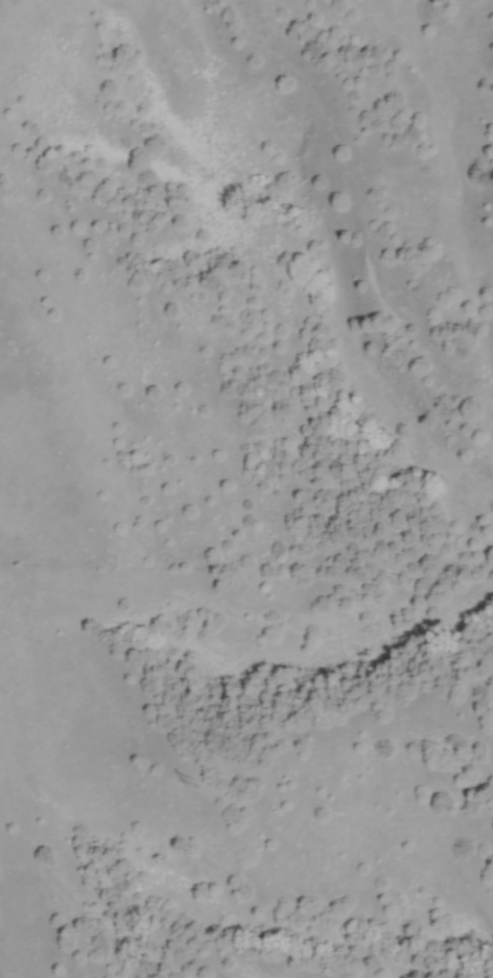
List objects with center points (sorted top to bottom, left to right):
power tower: (200, 787)

